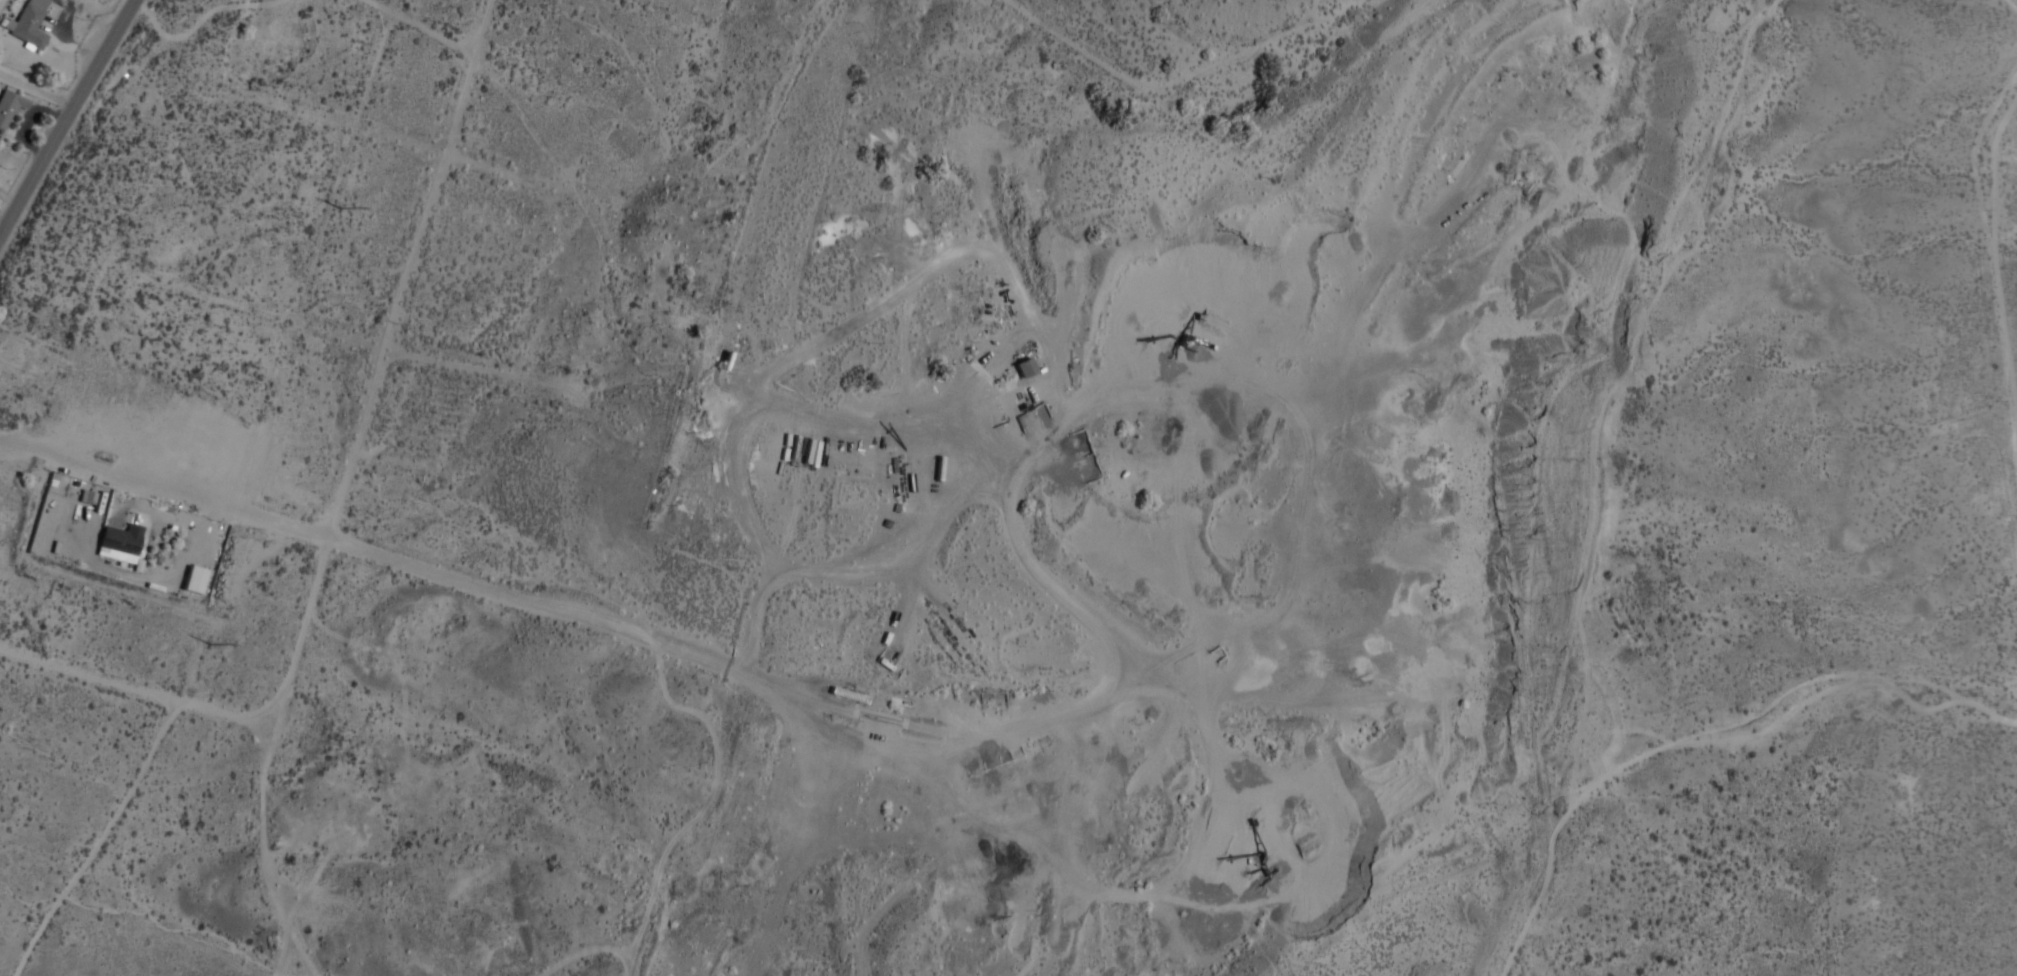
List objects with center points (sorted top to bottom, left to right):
building: (31, 24)
road: (38, 89)
building: (10, 109)
road: (67, 120)
road: (5, 218)
building: (1026, 367)
road: (163, 487)
road: (467, 502)
quarry: (1134, 505)
building: (122, 543)
building: (194, 579)
road: (304, 618)
road: (149, 752)

